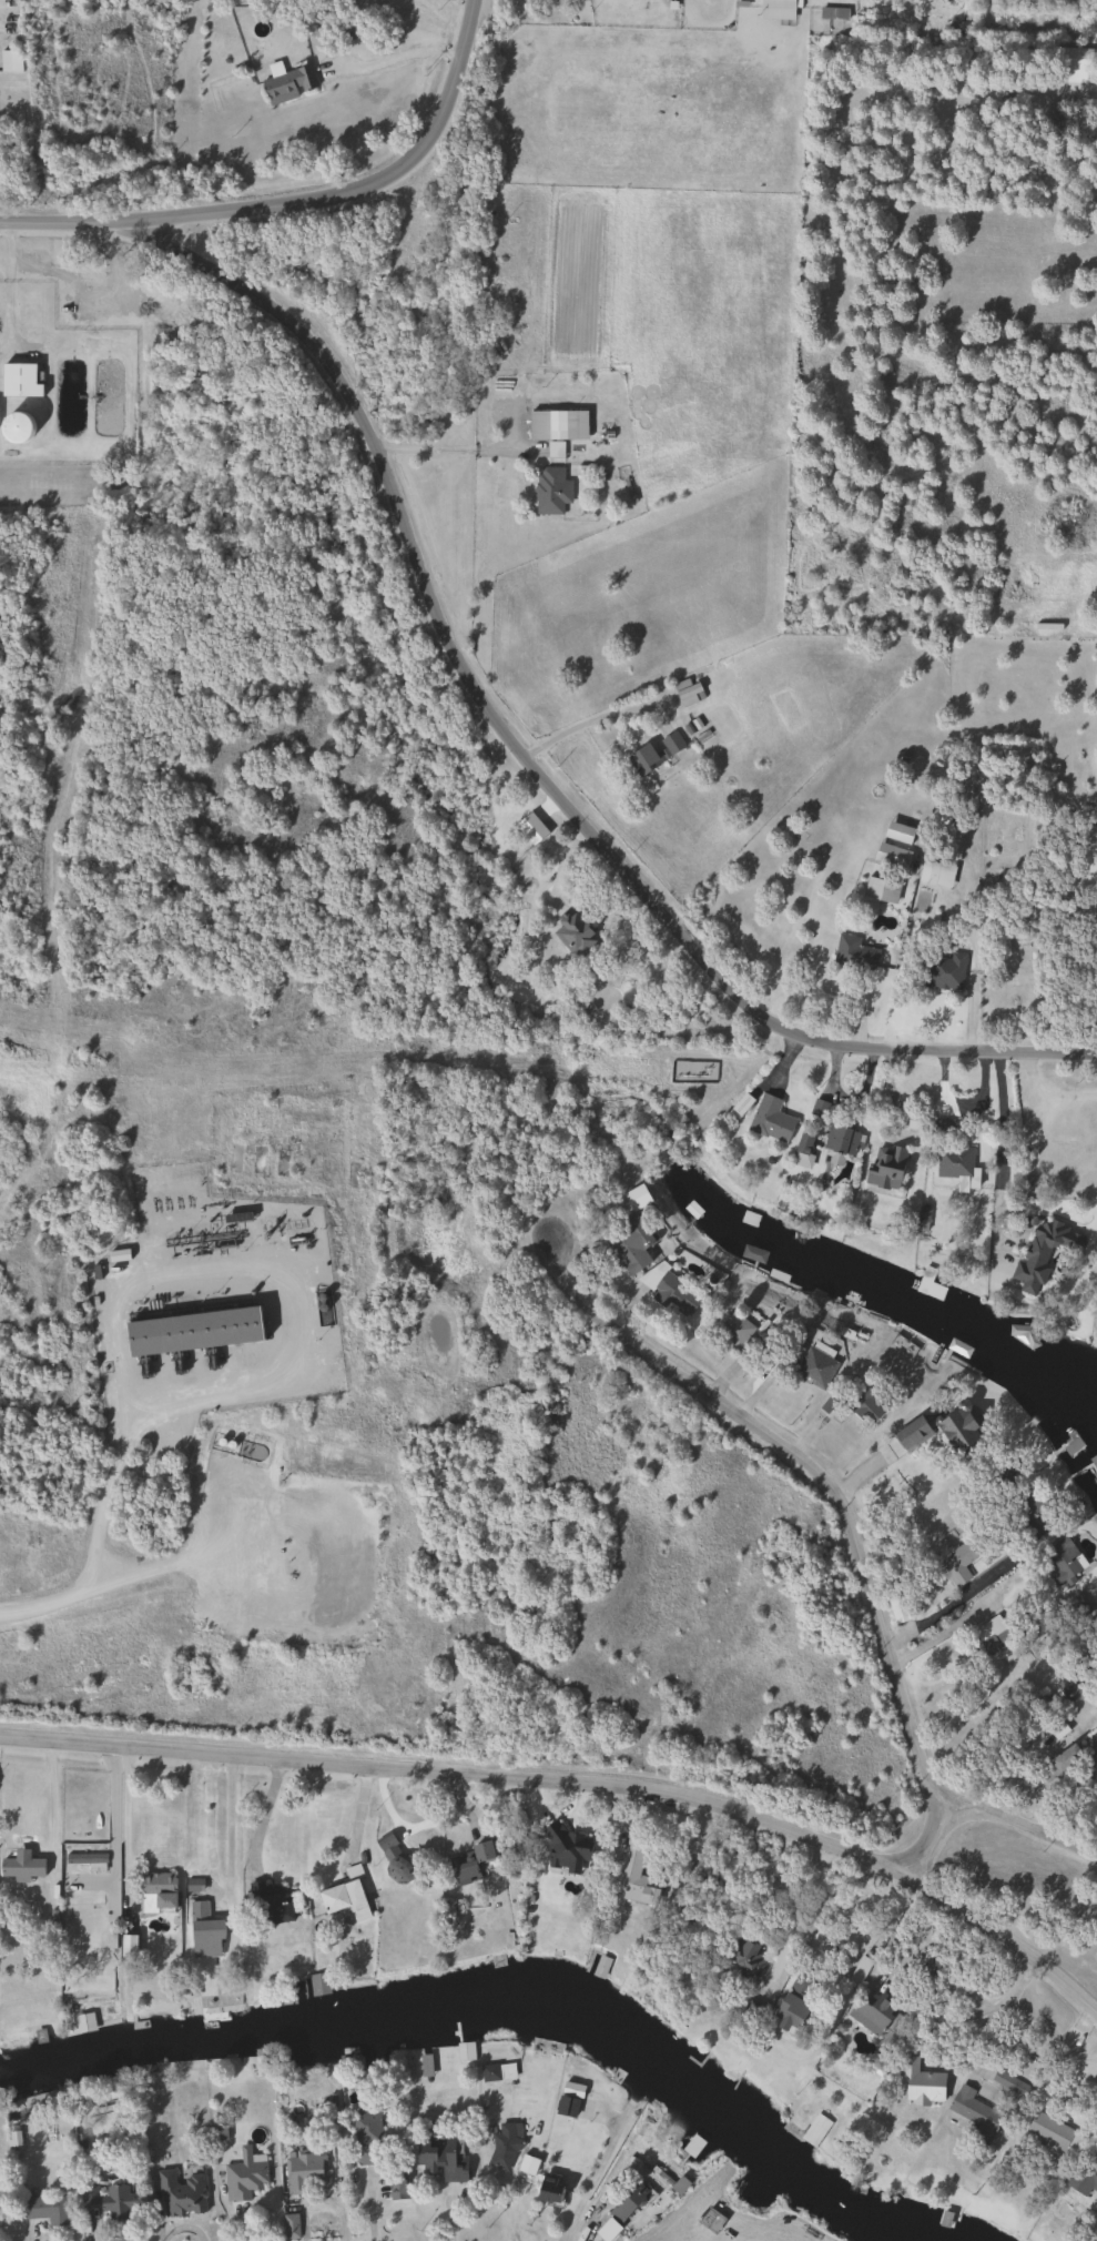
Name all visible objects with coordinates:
building: (776, 3)
building: (833, 13)
building: (959, 26)
road: (394, 57)
building: (10, 63)
building: (288, 84)
road: (141, 85)
road: (296, 200)
road: (7, 290)
building: (19, 381)
building: (557, 425)
building: (14, 428)
road: (450, 447)
building: (550, 491)
building: (688, 693)
road: (593, 711)
building: (653, 753)
road: (526, 760)
building: (1014, 774)
building: (898, 856)
building: (928, 870)
building: (572, 931)
building: (853, 951)
building: (942, 971)
road: (1046, 1096)
building: (739, 1106)
building: (769, 1118)
road: (1000, 1135)
building: (839, 1144)
building: (802, 1145)
building: (953, 1160)
building: (884, 1165)
building: (630, 1244)
building: (1042, 1252)
building: (669, 1290)
building: (734, 1329)
building: (192, 1330)
building: (814, 1365)
building: (862, 1402)
road: (839, 1496)
road: (106, 1498)
building: (1032, 1513)
road: (908, 1514)
building: (1063, 1559)
building: (956, 1563)
road: (100, 1586)
road: (948, 1605)
building: (896, 1607)
building: (1073, 1612)
building: (992, 1634)
building: (1007, 1653)
building: (1076, 1680)
building: (1091, 1756)
building: (1063, 1757)
road: (577, 1780)
road: (264, 1815)
road: (1016, 1820)
building: (1096, 1825)
road: (227, 1826)
road: (122, 1828)
building: (392, 1855)
building: (470, 1863)
building: (20, 1866)
building: (631, 1875)
building: (158, 1891)
building: (345, 1897)
building: (270, 1901)
road: (872, 1922)
building: (204, 1931)
building: (745, 1959)
building: (600, 1966)
building: (317, 1983)
building: (795, 1999)
building: (871, 2015)
building: (464, 2051)
building: (497, 2072)
building: (920, 2083)
building: (118, 2086)
building: (566, 2107)
building: (974, 2113)
building: (814, 2130)
building: (1048, 2130)
building: (366, 2139)
building: (691, 2146)
building: (502, 2147)
building: (441, 2153)
building: (526, 2164)
building: (301, 2170)
building: (244, 2176)
building: (1083, 2177)
road: (590, 2179)
building: (548, 2189)
building: (180, 2193)
building: (108, 2200)
building: (627, 2202)
building: (44, 2209)
building: (290, 2227)

